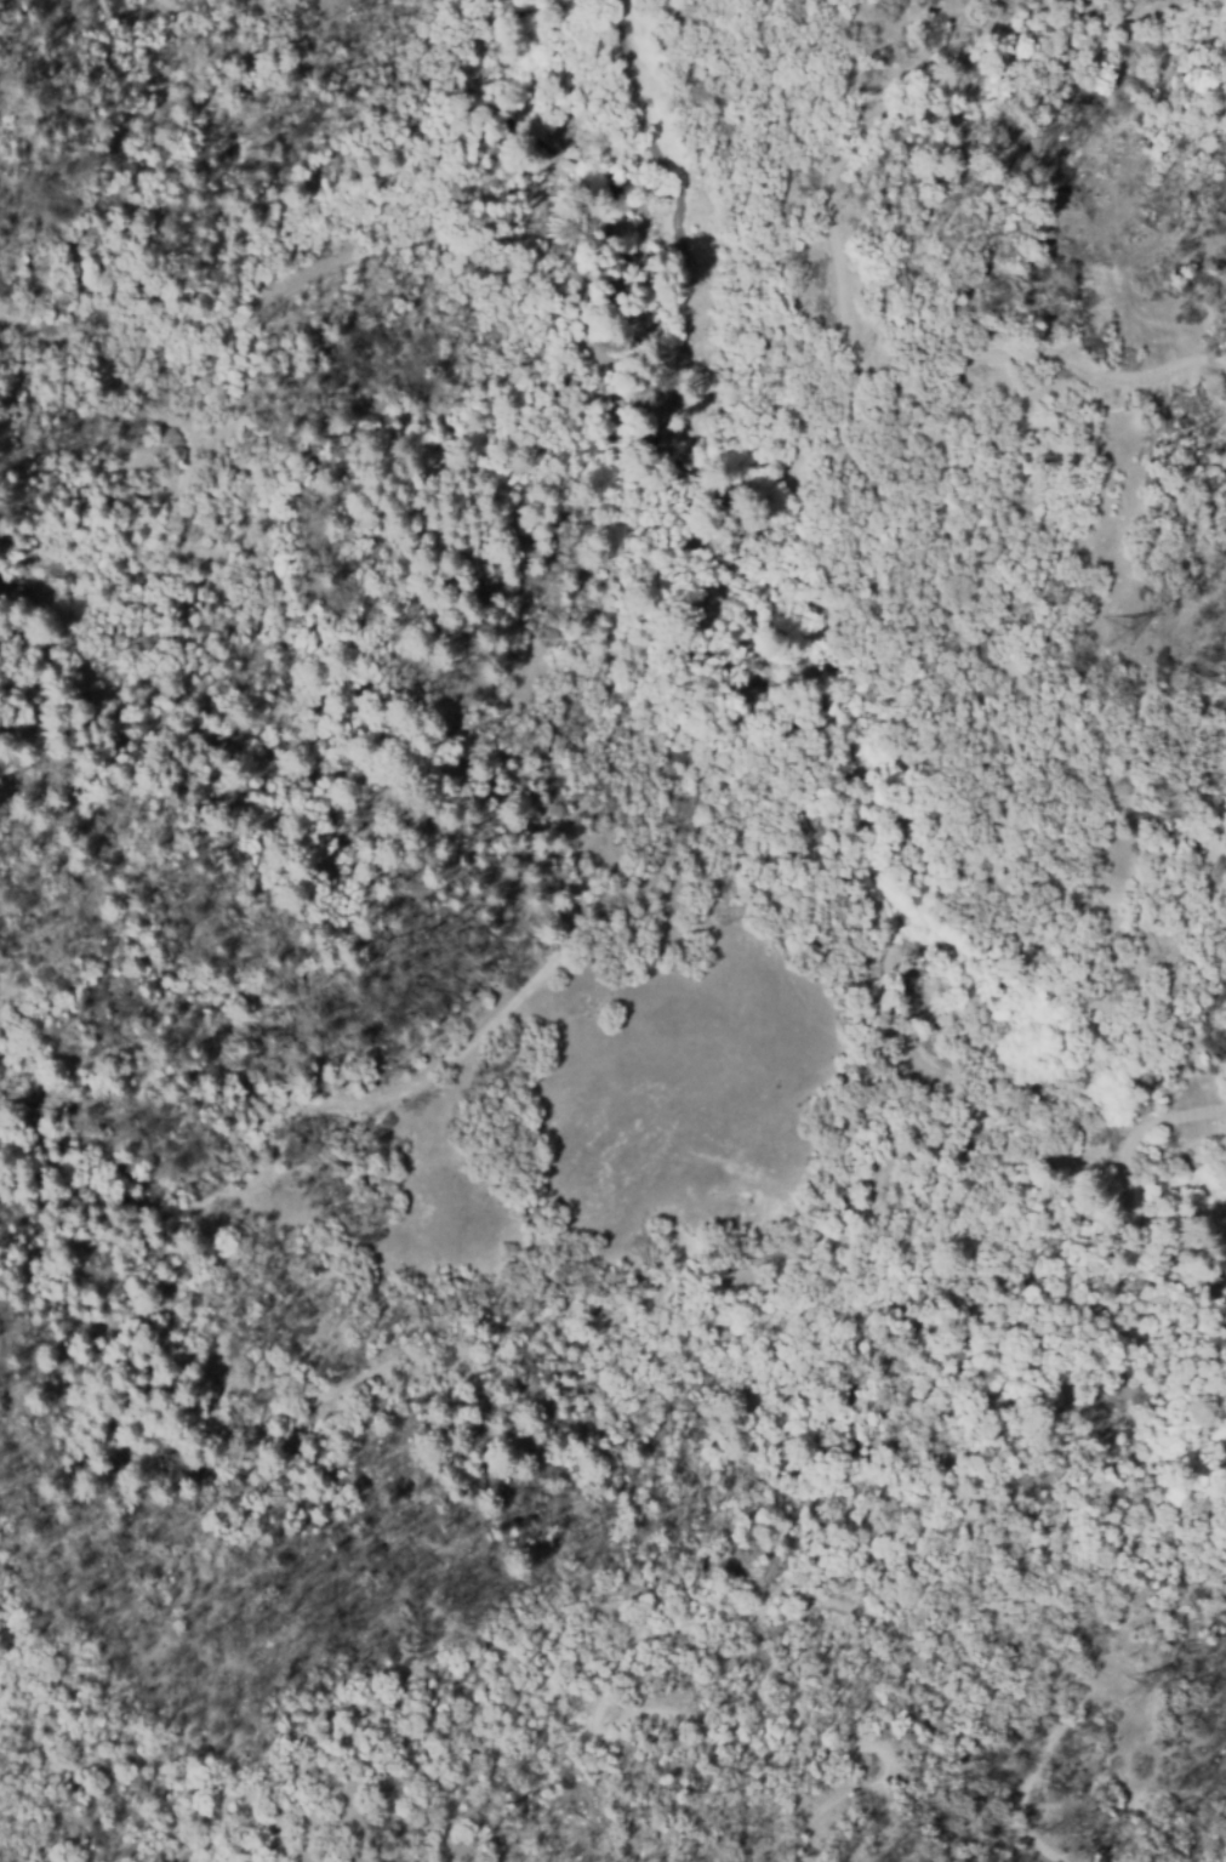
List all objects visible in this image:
power tower: (1120, 633)
power tower: (1141, 1687)

